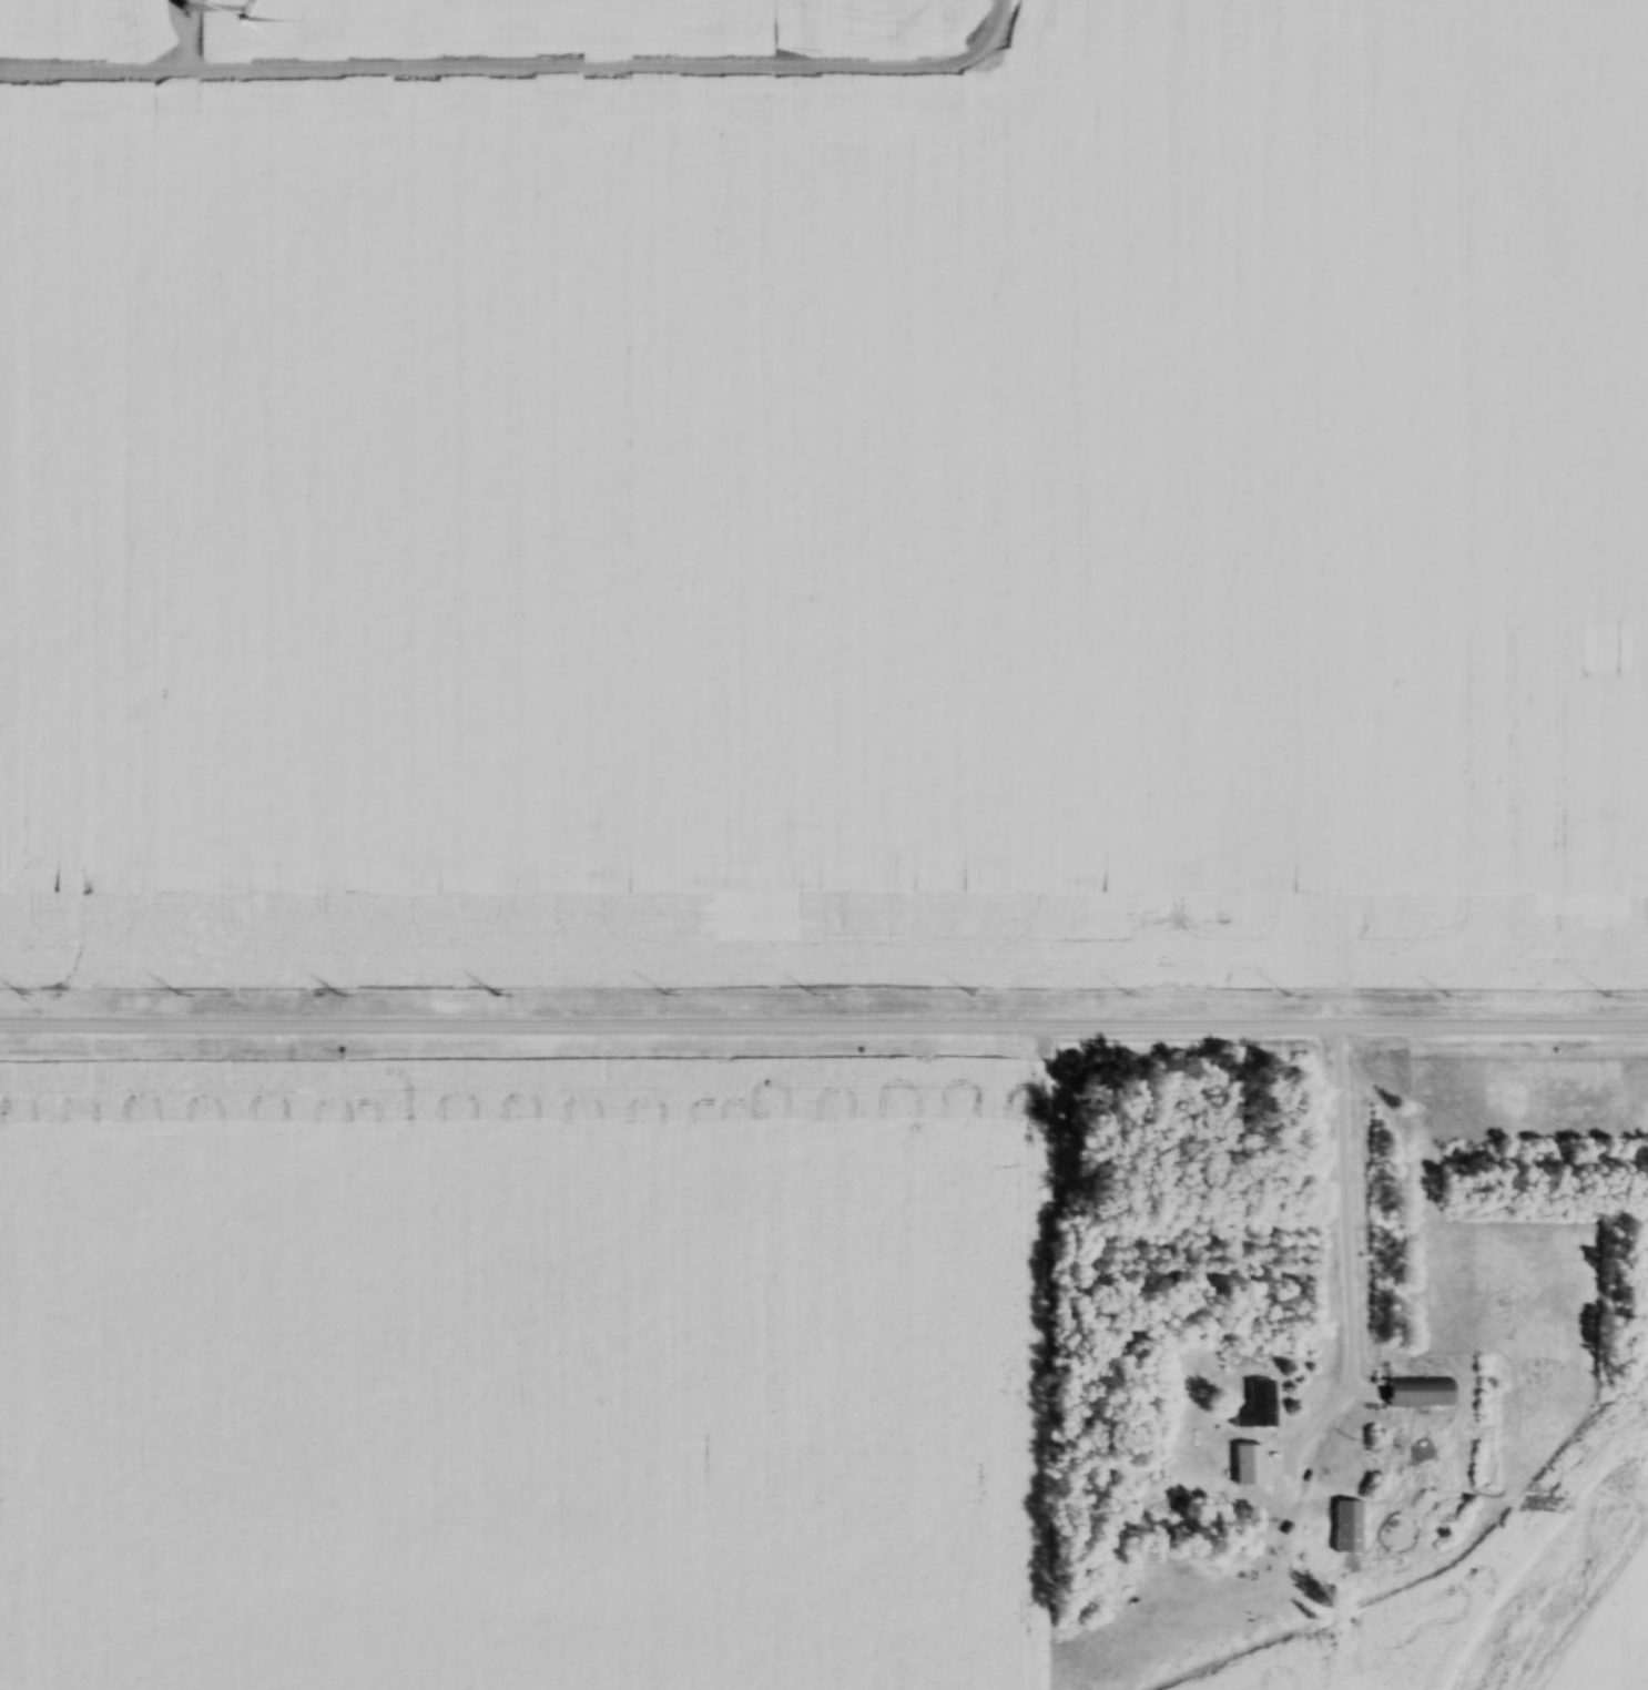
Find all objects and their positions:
wind turbine: (186, 10)
road: (824, 1007)
road: (1347, 1238)
building: (1422, 1393)
building: (1260, 1406)
building: (1251, 1477)
building: (1350, 1527)

